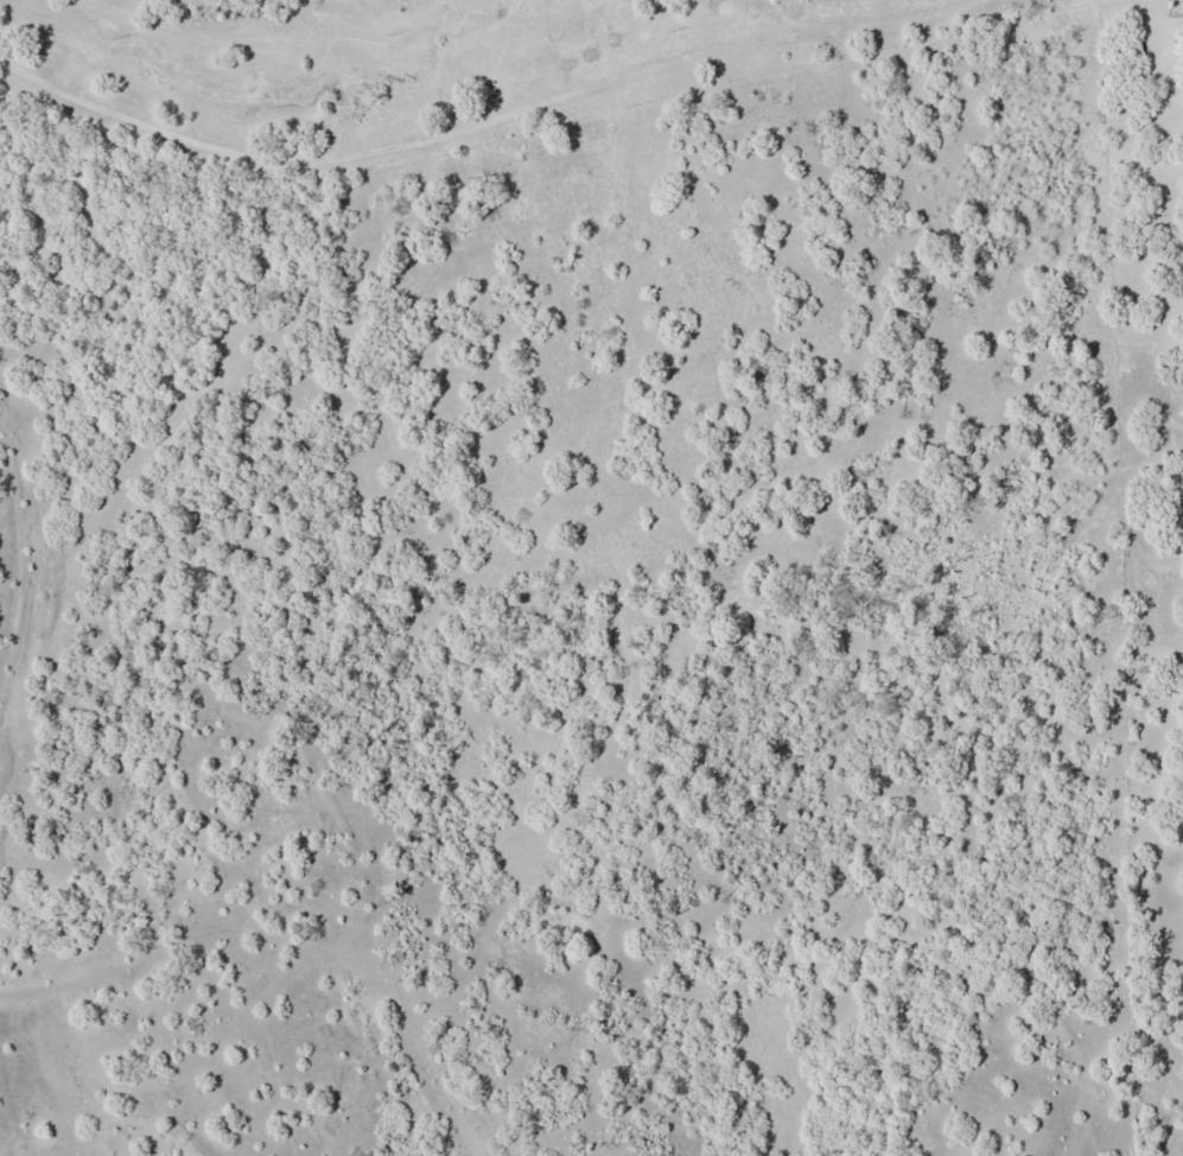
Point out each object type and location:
road: (438, 139)

